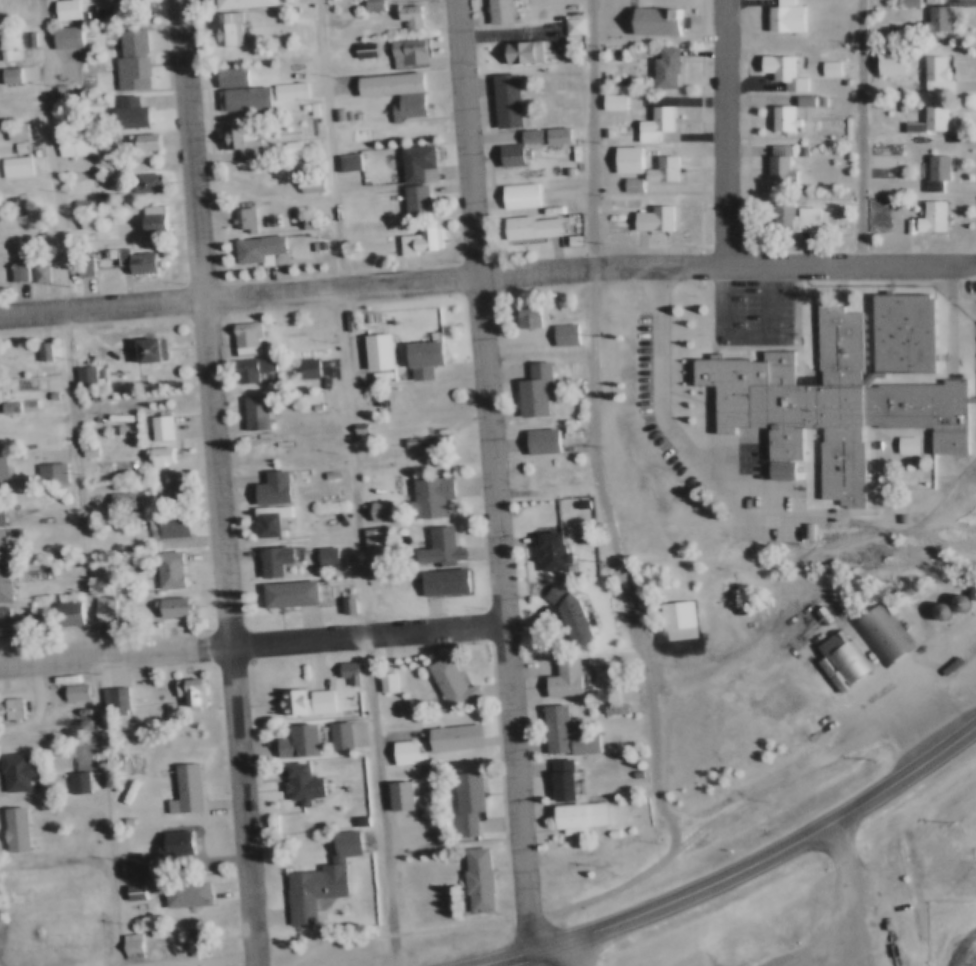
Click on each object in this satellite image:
building: (889, 3)
building: (904, 3)
building: (239, 4)
building: (368, 5)
building: (61, 9)
building: (498, 12)
building: (406, 16)
building: (781, 17)
building: (932, 19)
building: (652, 23)
building: (568, 26)
building: (225, 28)
building: (143, 32)
building: (63, 36)
building: (21, 38)
building: (360, 50)
building: (519, 52)
building: (6, 53)
building: (403, 53)
building: (127, 57)
building: (887, 64)
building: (670, 67)
building: (825, 67)
building: (929, 73)
building: (6, 74)
building: (225, 77)
building: (783, 78)
building: (284, 89)
building: (392, 91)
building: (238, 98)
building: (503, 100)
building: (609, 102)
building: (298, 105)
building: (307, 107)
building: (125, 112)
building: (332, 113)
building: (341, 114)
building: (349, 115)
building: (778, 118)
building: (921, 120)
building: (651, 124)
building: (12, 130)
road: (730, 132)
building: (602, 133)
road: (863, 133)
building: (552, 134)
building: (526, 135)
building: (234, 137)
building: (70, 143)
building: (136, 143)
building: (11, 145)
building: (286, 146)
building: (793, 148)
building: (507, 156)
building: (623, 160)
building: (344, 161)
building: (773, 162)
building: (12, 164)
building: (657, 169)
building: (940, 170)
building: (563, 171)
building: (930, 171)
building: (412, 178)
building: (140, 181)
building: (306, 182)
building: (627, 183)
building: (73, 200)
building: (521, 214)
building: (926, 215)
building: (789, 216)
building: (147, 217)
building: (239, 218)
building: (649, 218)
building: (82, 219)
building: (92, 221)
building: (304, 221)
building: (902, 223)
building: (568, 239)
building: (415, 242)
building: (253, 246)
building: (5, 248)
building: (129, 258)
building: (89, 260)
building: (79, 261)
building: (13, 270)
building: (22, 271)
building: (35, 272)
building: (44, 274)
road: (487, 276)
building: (523, 315)
building: (343, 321)
building: (558, 332)
building: (240, 335)
building: (37, 349)
building: (372, 349)
building: (46, 351)
building: (143, 351)
building: (418, 356)
building: (301, 365)
building: (243, 367)
building: (311, 368)
building: (93, 370)
building: (79, 374)
building: (528, 387)
building: (835, 387)
road: (601, 388)
road: (661, 390)
building: (46, 392)
building: (0, 396)
building: (6, 405)
building: (248, 408)
building: (153, 425)
building: (163, 427)
building: (111, 428)
building: (354, 431)
building: (412, 438)
building: (535, 438)
building: (894, 439)
building: (266, 449)
building: (152, 453)
building: (163, 456)
building: (130, 470)
building: (44, 471)
building: (322, 471)
building: (0, 474)
road: (494, 478)
road: (358, 482)
road: (83, 483)
road: (221, 483)
building: (265, 485)
building: (177, 489)
building: (424, 492)
building: (114, 498)
building: (574, 500)
building: (125, 501)
building: (373, 506)
building: (2, 508)
building: (262, 517)
building: (162, 523)
building: (367, 534)
building: (434, 543)
building: (545, 548)
building: (319, 553)
building: (330, 556)
building: (267, 557)
building: (162, 566)
building: (435, 577)
building: (2, 582)
building: (968, 589)
silo: (968, 589)
building: (282, 591)
building: (961, 600)
building: (340, 601)
building: (953, 601)
silo: (953, 601)
building: (166, 603)
building: (351, 604)
building: (98, 605)
building: (108, 607)
building: (559, 607)
building: (934, 609)
silo: (934, 609)
building: (60, 610)
building: (668, 611)
building: (572, 612)
building: (10, 625)
building: (872, 632)
road: (252, 640)
building: (895, 645)
building: (838, 655)
building: (339, 663)
building: (352, 671)
building: (557, 674)
building: (378, 678)
building: (444, 679)
building: (390, 681)
building: (183, 687)
building: (67, 688)
building: (78, 691)
building: (105, 696)
building: (300, 699)
building: (117, 701)
building: (608, 701)
building: (161, 705)
building: (75, 706)
building: (7, 707)
road: (865, 714)
building: (557, 729)
building: (331, 730)
building: (447, 733)
building: (343, 735)
building: (292, 738)
building: (399, 749)
building: (13, 768)
building: (554, 775)
building: (70, 778)
building: (565, 779)
building: (296, 780)
building: (81, 781)
building: (178, 786)
building: (393, 792)
building: (459, 798)
building: (403, 802)
building: (570, 813)
building: (119, 817)
building: (354, 817)
building: (10, 827)
building: (168, 842)
building: (69, 844)
building: (127, 864)
building: (137, 867)
road: (745, 869)
building: (471, 875)
building: (313, 879)
building: (128, 889)
building: (178, 889)
building: (138, 892)
road: (860, 903)
building: (188, 936)
building: (125, 942)
building: (135, 945)
road: (585, 953)

